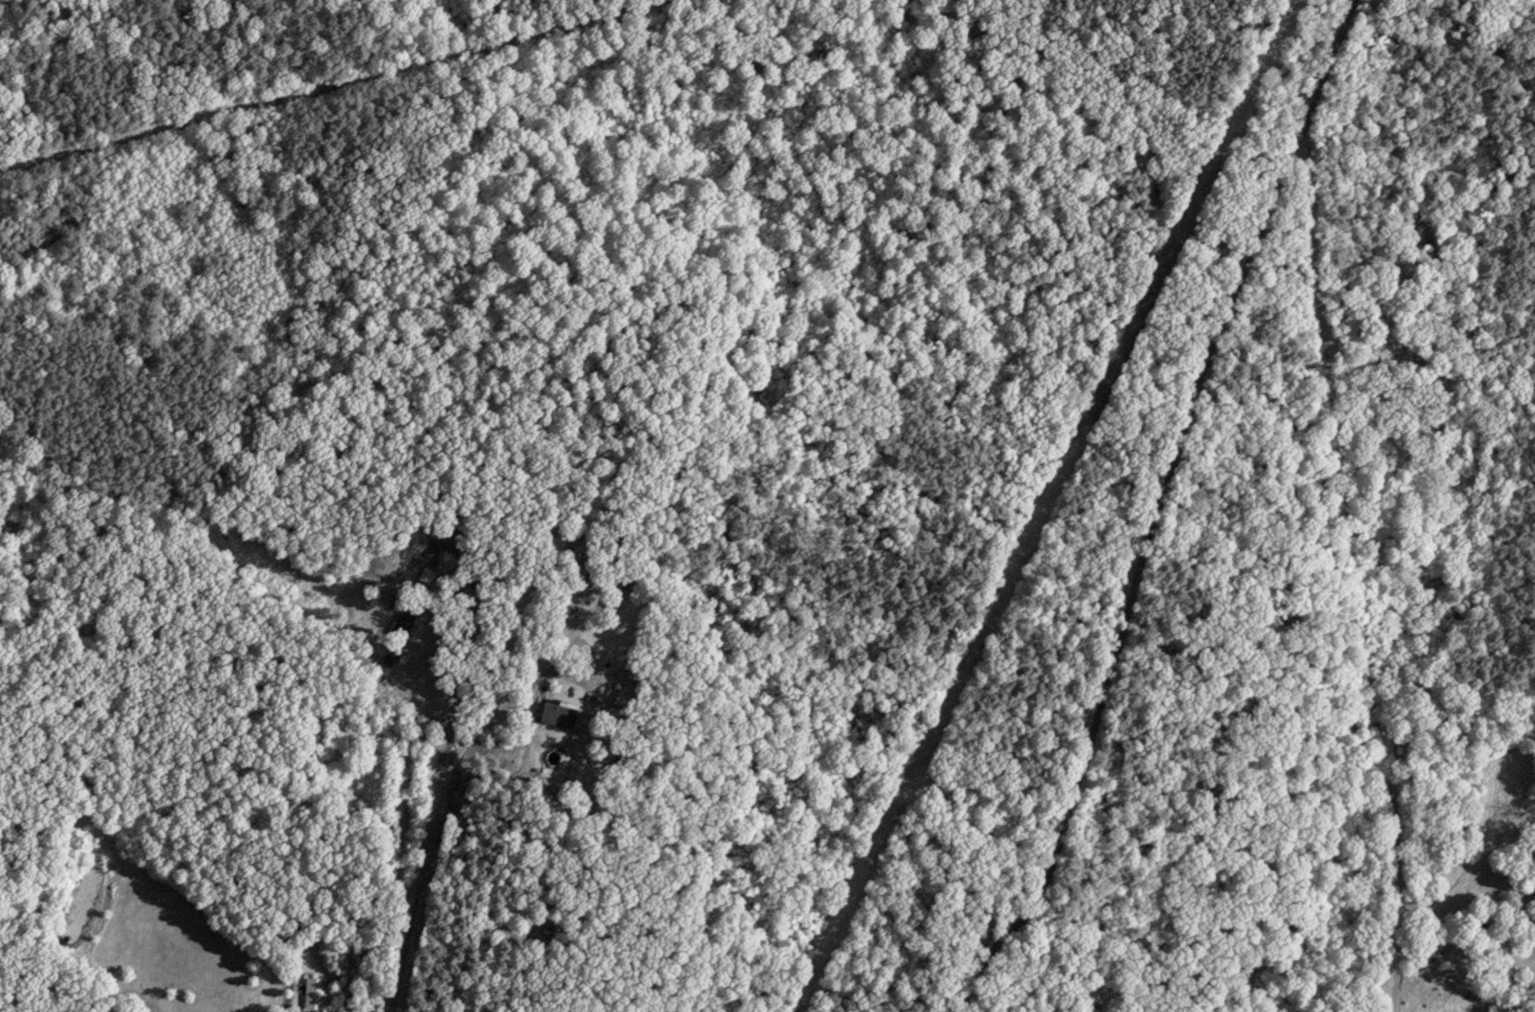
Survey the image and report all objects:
building: (558, 714)
road: (481, 723)
road: (430, 824)
building: (315, 993)

